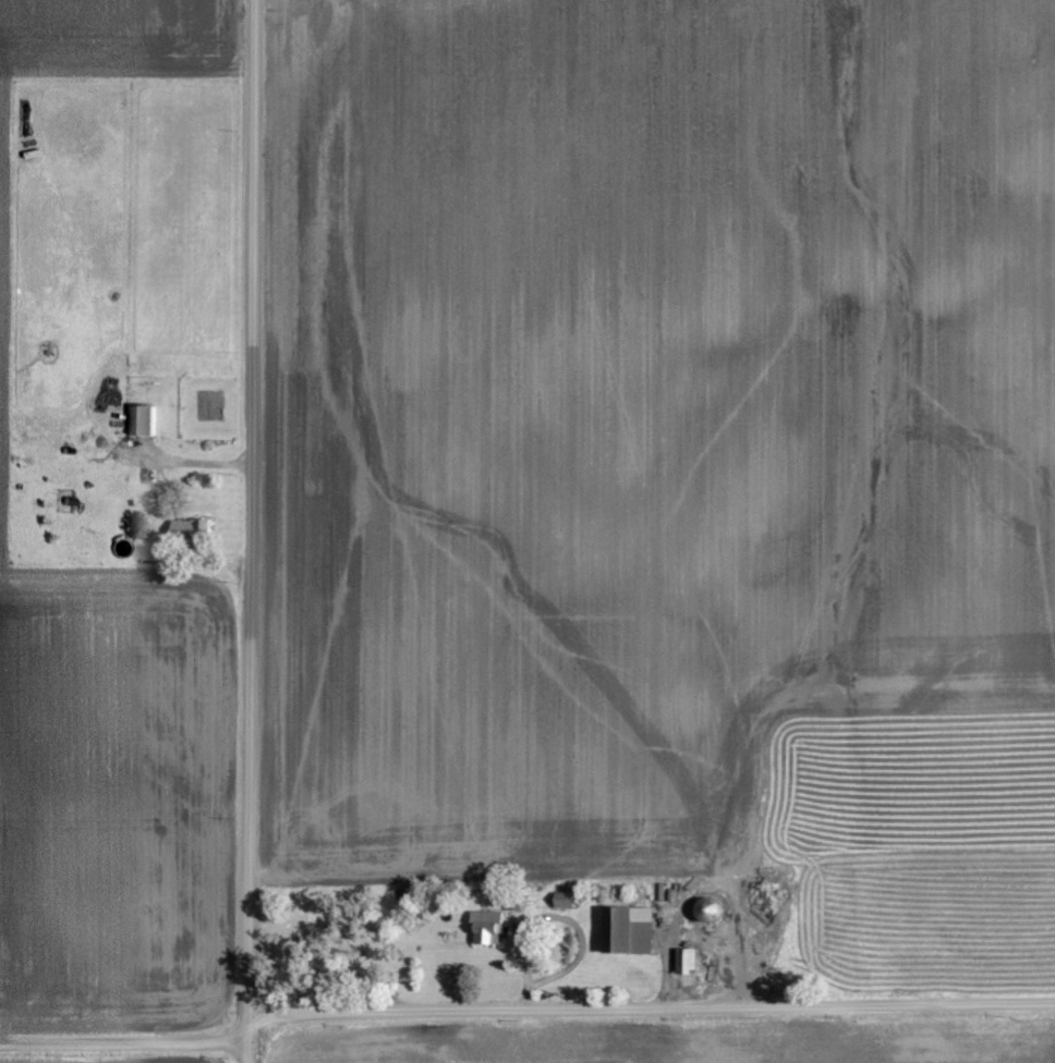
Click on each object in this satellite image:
building: (136, 418)
road: (189, 457)
road: (251, 531)
building: (485, 924)
building: (626, 928)
building: (684, 956)
road: (524, 1010)

